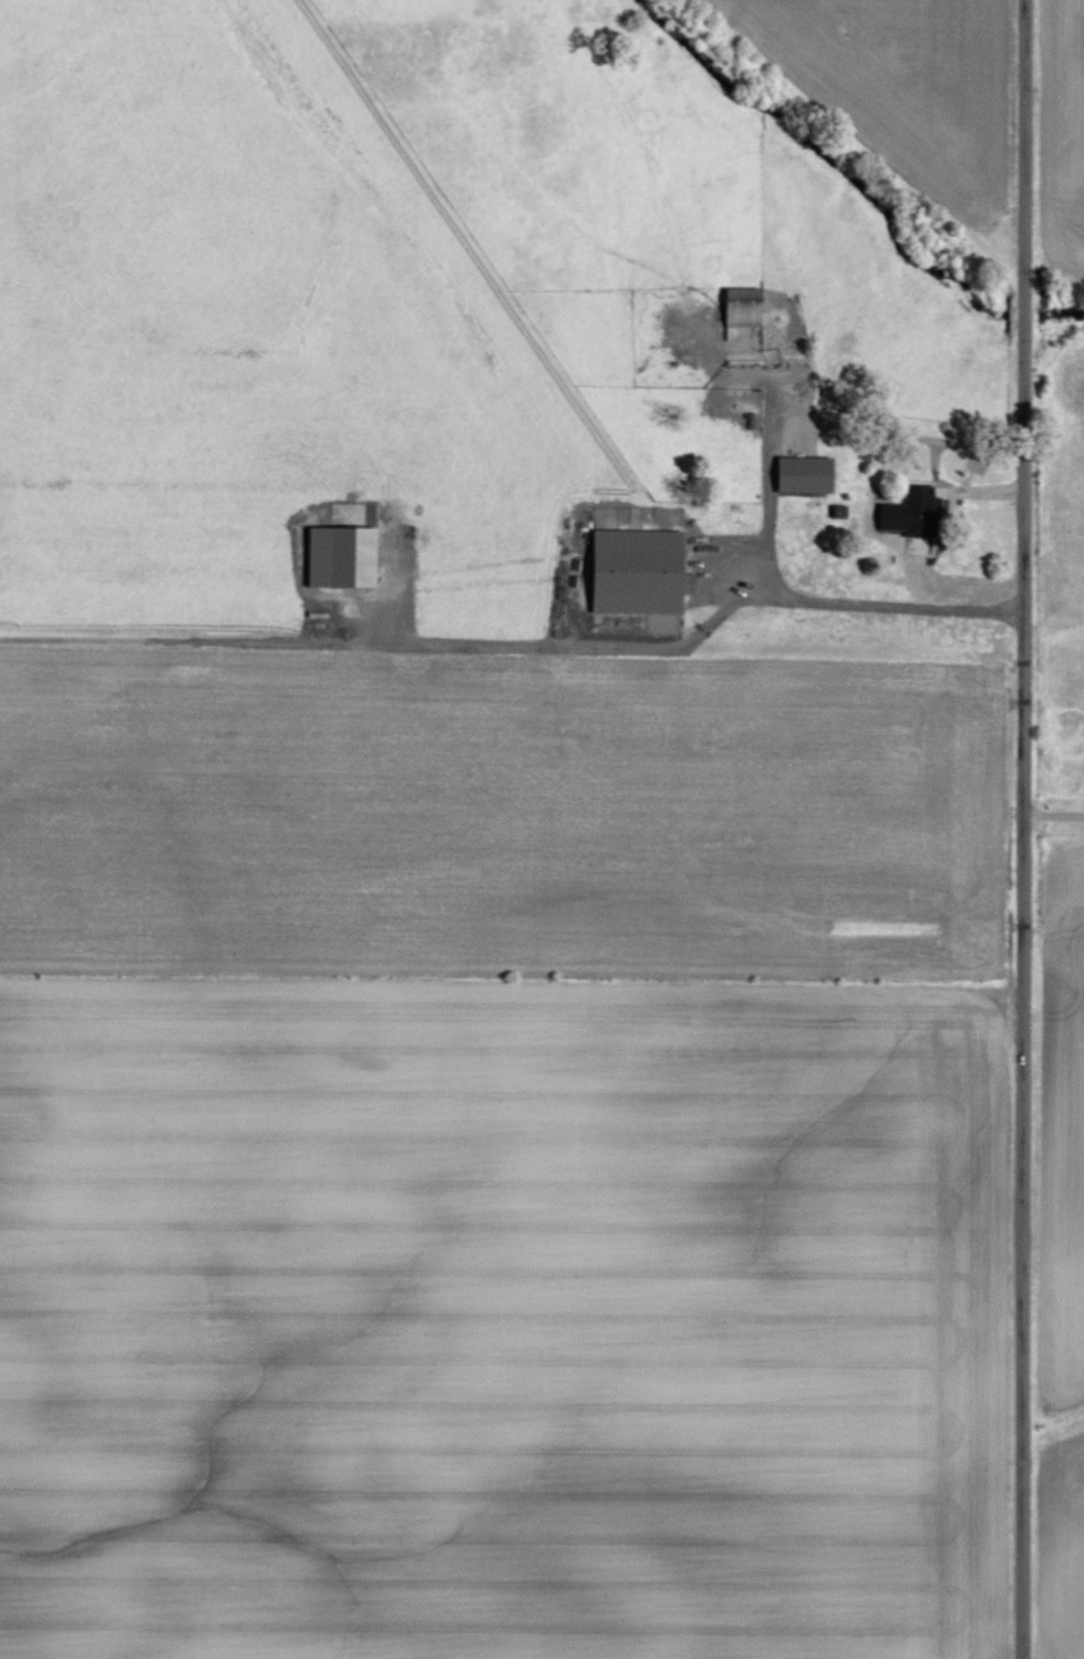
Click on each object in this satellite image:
building: (742, 308)
road: (896, 435)
road: (932, 465)
building: (806, 477)
building: (838, 512)
building: (908, 513)
road: (1052, 816)
road: (1019, 828)

